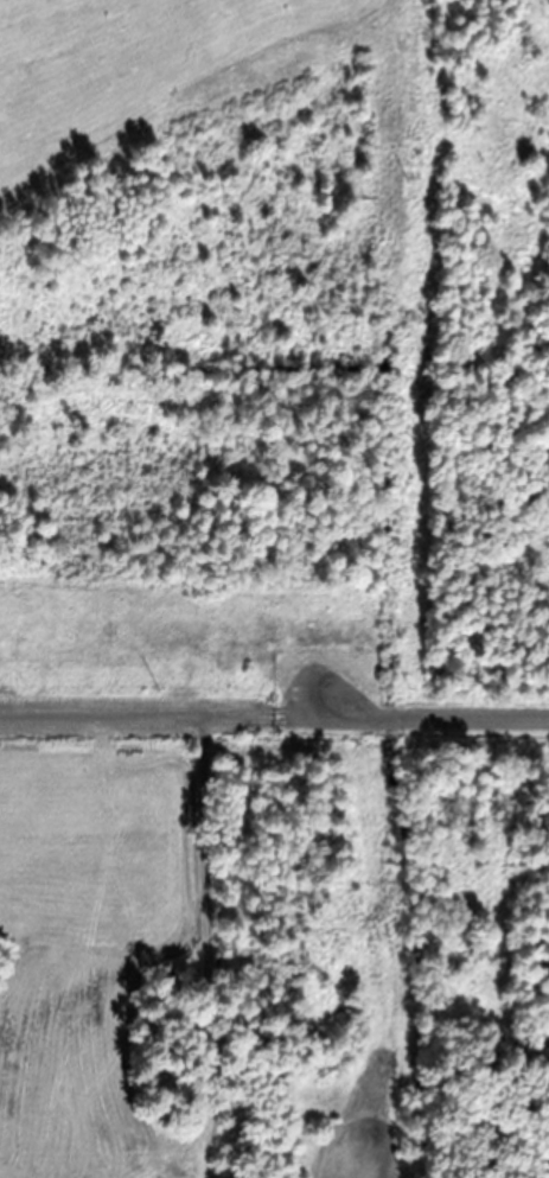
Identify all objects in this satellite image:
landfill: (274, 588)
road: (274, 717)
road: (210, 884)

